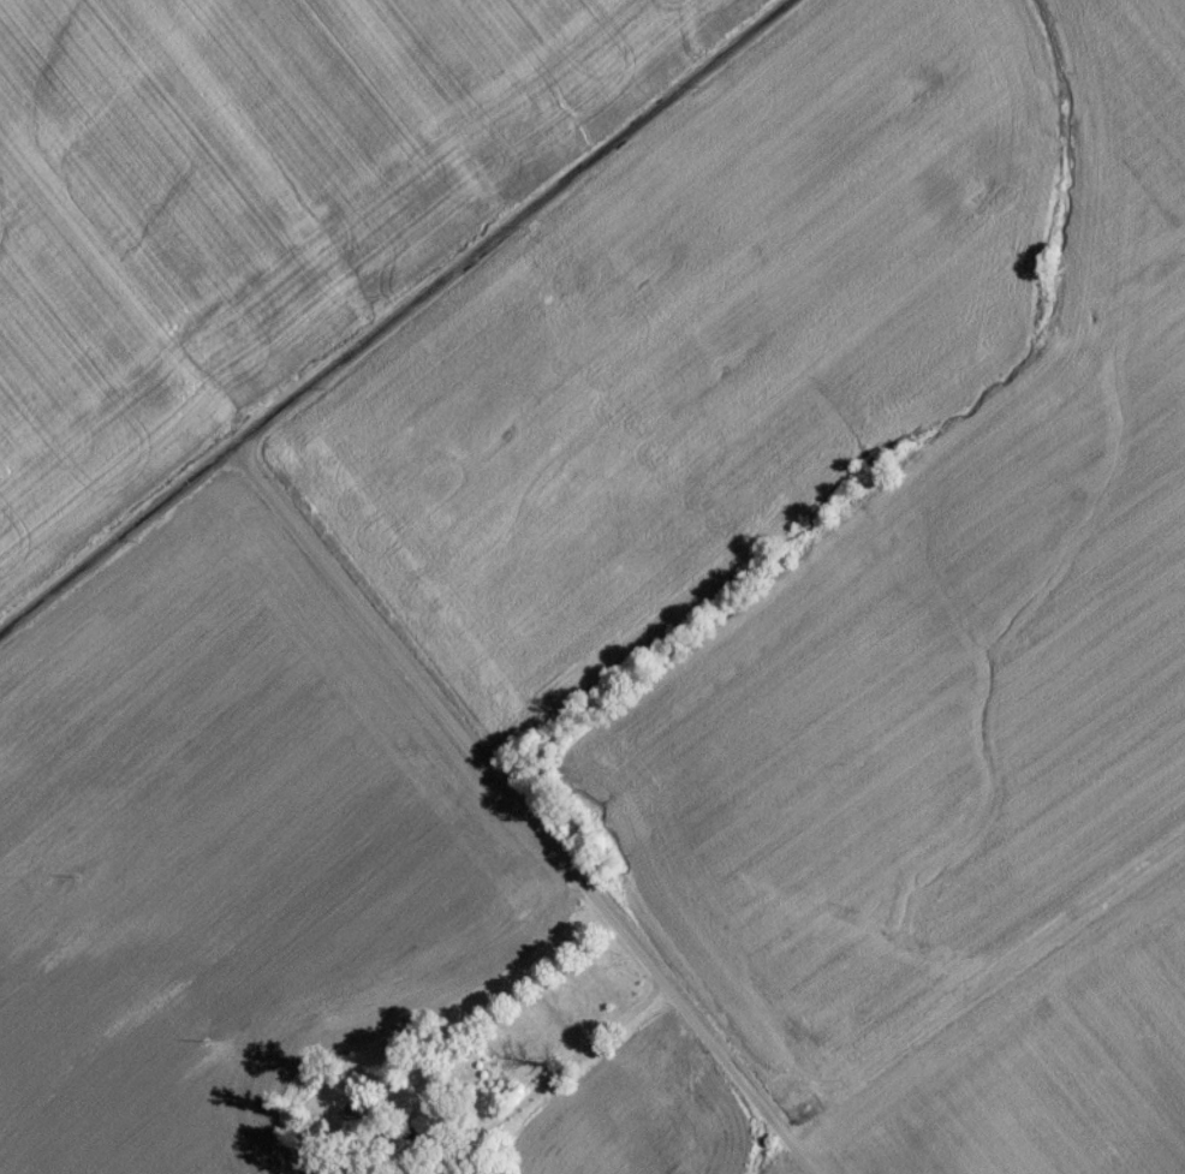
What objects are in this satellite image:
road: (504, 221)
road: (118, 540)
road: (522, 810)
road: (571, 1065)

